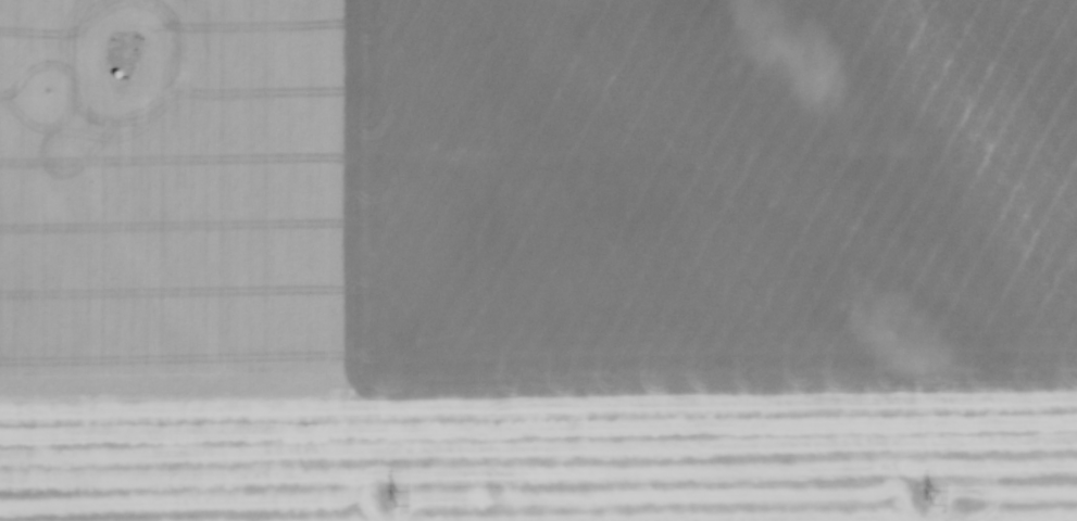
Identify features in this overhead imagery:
crop: (538, 260)
power tower: (391, 494)
power tower: (931, 494)

